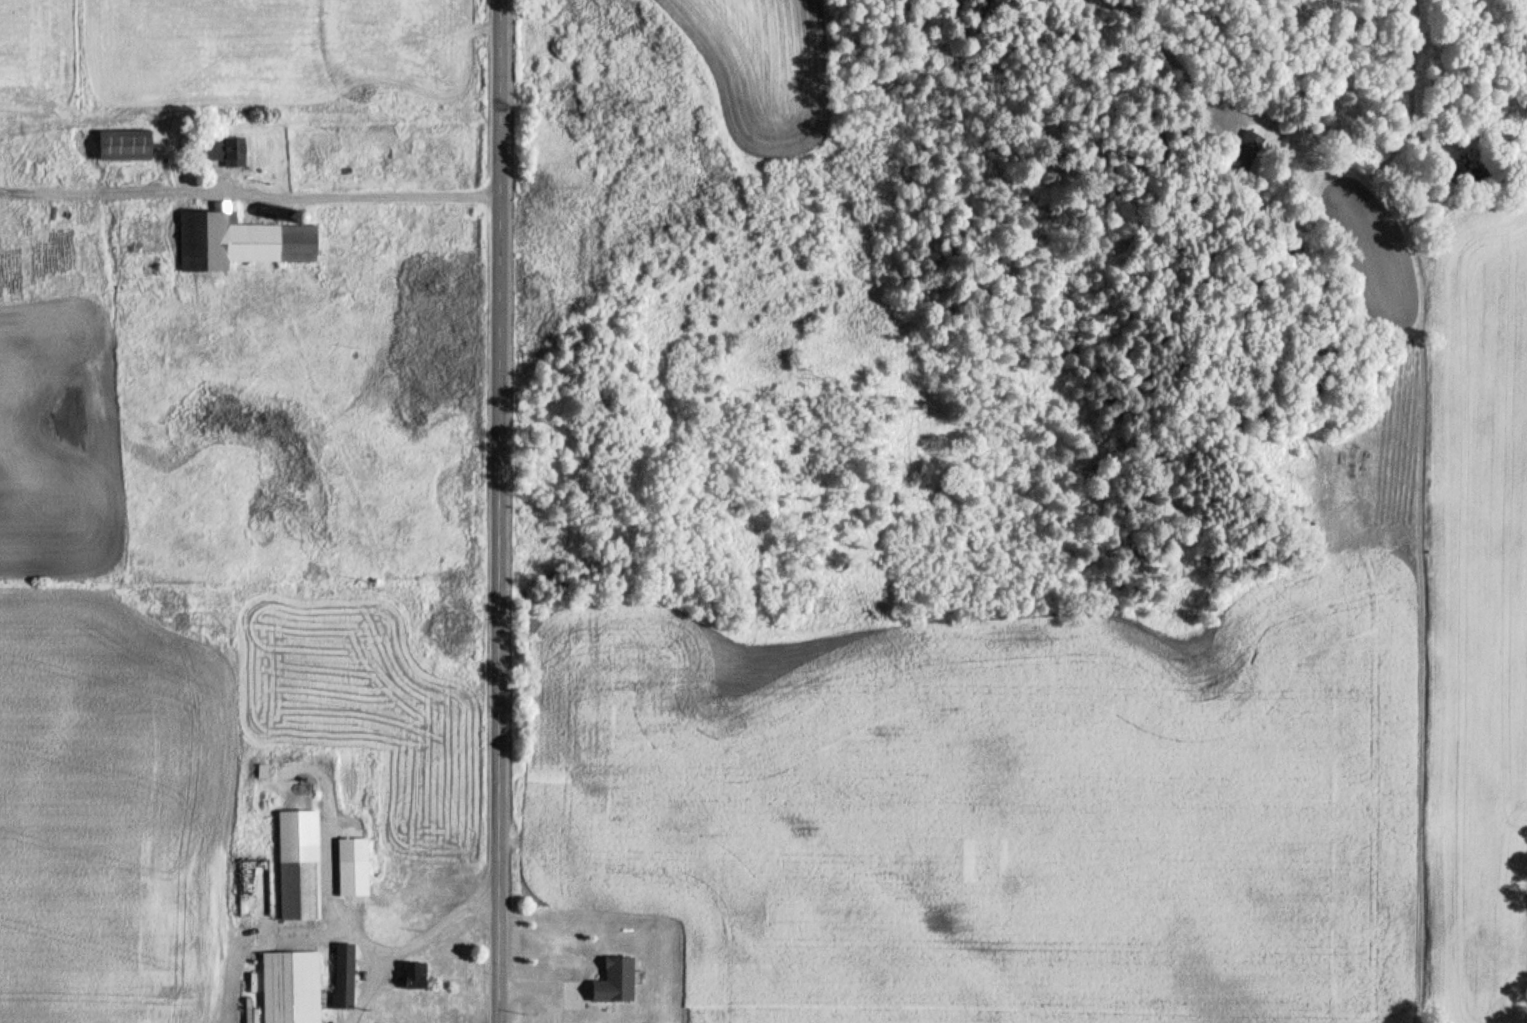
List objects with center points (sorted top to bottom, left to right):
building: (1199, 131)
building: (1250, 144)
building: (124, 145)
building: (225, 150)
building: (239, 240)
building: (1319, 455)
road: (500, 511)
building: (298, 864)
building: (352, 866)
building: (343, 975)
building: (414, 975)
building: (614, 980)
building: (290, 986)

